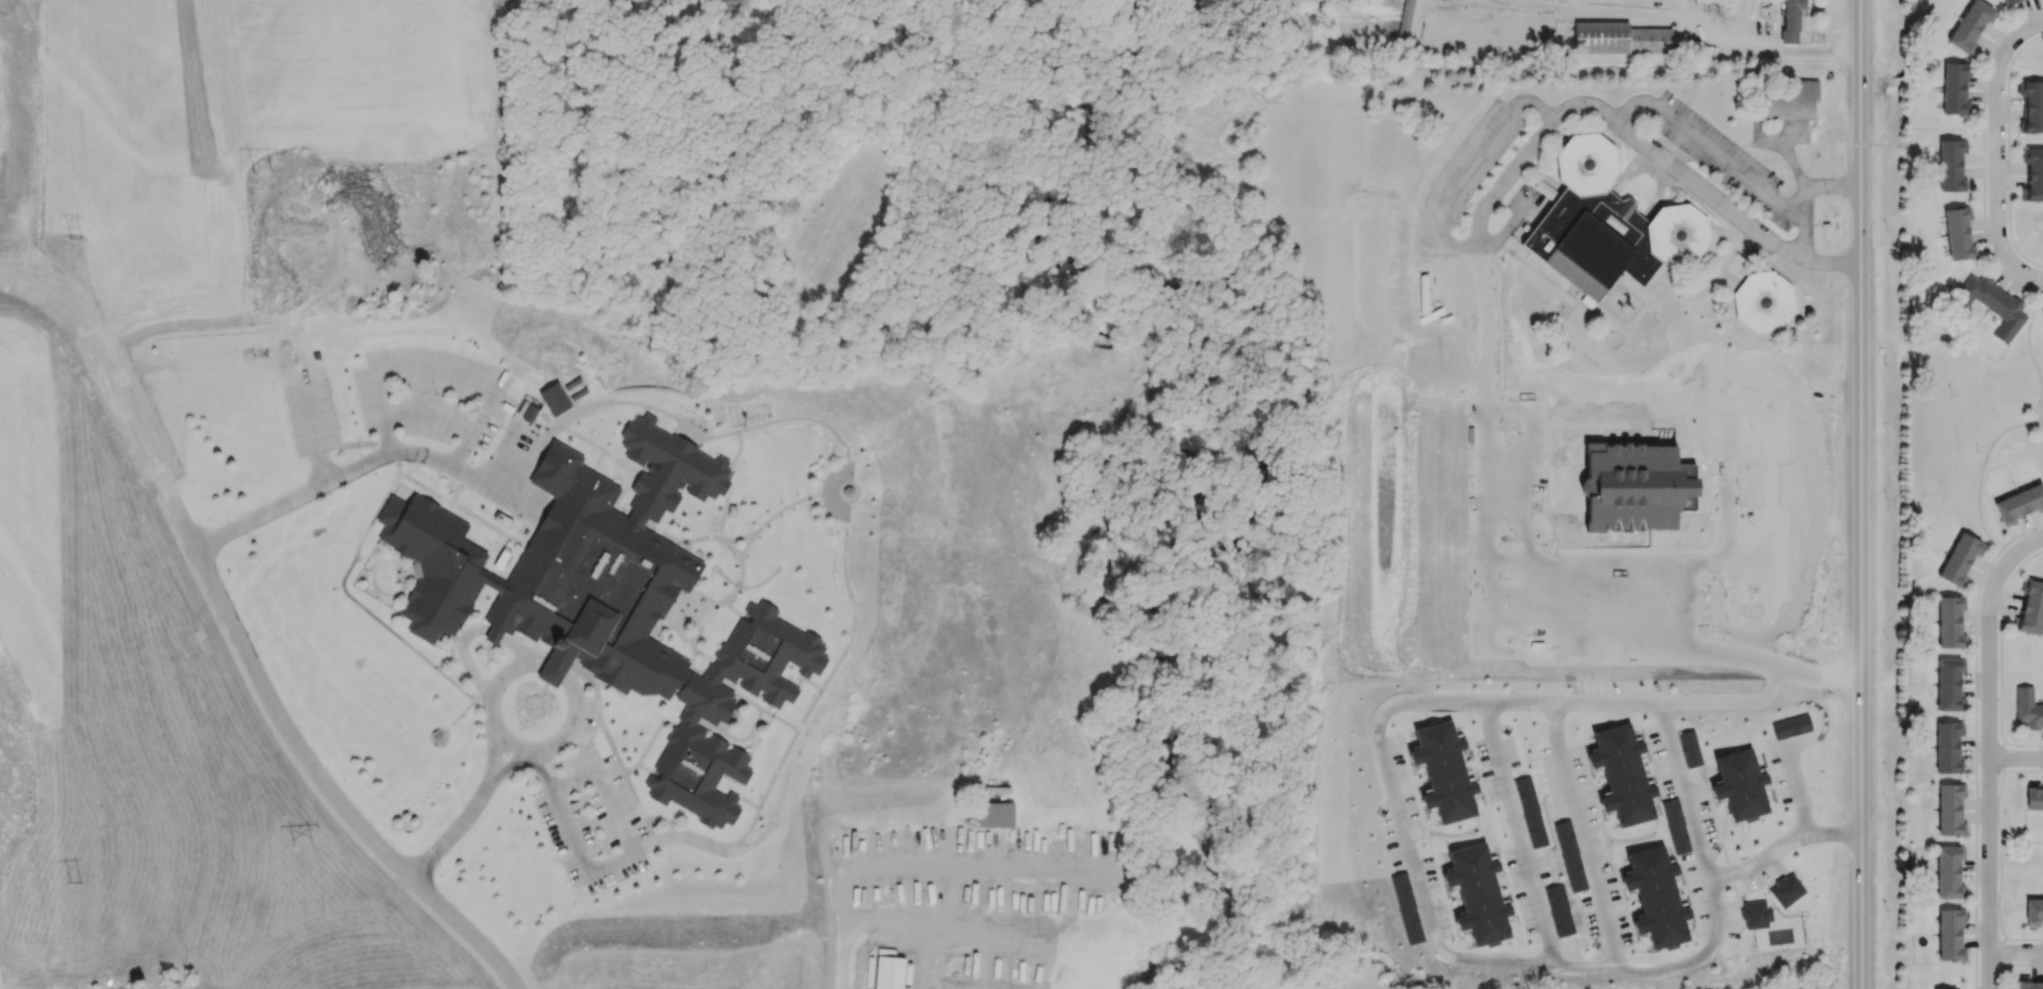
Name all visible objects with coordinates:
building: (1702, 1)
building: (2009, 1)
road: (1688, 17)
building: (1791, 19)
building: (1970, 25)
building: (1620, 38)
building: (1955, 88)
road: (1983, 97)
building: (1790, 101)
building: (2033, 107)
road: (1932, 128)
road: (1847, 144)
road: (1984, 150)
road: (1999, 155)
road: (1982, 158)
road: (1724, 162)
building: (1951, 165)
power tower: (271, 174)
building: (2034, 174)
road: (1810, 184)
road: (1700, 189)
building: (1611, 227)
building: (1958, 234)
road: (1986, 236)
power tower: (78, 241)
road: (1464, 249)
road: (2006, 274)
building: (1763, 301)
building: (1992, 304)
building: (2042, 312)
road: (2032, 357)
road: (467, 379)
building: (554, 399)
building: (527, 411)
parking lot: (308, 414)
road: (426, 415)
road: (2034, 427)
road: (315, 436)
road: (1981, 477)
road: (1843, 494)
road: (1860, 494)
road: (1869, 494)
building: (2019, 504)
road: (287, 508)
road: (2018, 532)
building: (1960, 558)
building: (613, 601)
building: (2031, 608)
building: (1950, 622)
road: (1989, 636)
road: (236, 642)
building: (1949, 685)
road: (574, 692)
road: (488, 698)
flagpole: (524, 701)
building: (2027, 707)
flagpole: (541, 710)
flagpole: (528, 714)
building: (1791, 724)
road: (510, 744)
building: (1948, 747)
building: (1689, 748)
road: (494, 751)
road: (2016, 760)
road: (513, 761)
road: (1382, 763)
road: (1976, 767)
building: (1444, 771)
building: (1622, 774)
flagpole: (471, 780)
flagpole: (468, 787)
building: (1736, 789)
road: (1680, 790)
flagpole: (463, 792)
building: (2034, 796)
flagpole: (460, 797)
flagpole: (498, 797)
flagpole: (494, 802)
flagpole: (456, 803)
flagpole: (491, 808)
flagpole: (451, 809)
building: (1950, 809)
building: (1530, 811)
flagpole: (486, 813)
flagpole: (447, 814)
building: (992, 814)
flagpole: (483, 818)
flagpole: (443, 819)
parking lot: (592, 821)
flagpole: (439, 824)
road: (456, 825)
flagpole: (479, 825)
building: (1675, 825)
flagpole: (434, 829)
flagpole: (473, 830)
road: (1514, 833)
flagpole: (429, 834)
road: (1580, 834)
flagpole: (469, 835)
flagpole: (464, 840)
road: (1779, 844)
power tower: (311, 845)
flagpole: (460, 845)
flagpole: (456, 850)
flagpole: (451, 855)
building: (1569, 855)
road: (613, 859)
building: (1949, 871)
road: (1989, 874)
power tower: (80, 881)
building: (1786, 889)
building: (1478, 894)
building: (1656, 897)
building: (1406, 907)
building: (1559, 909)
building: (2034, 910)
building: (1755, 914)
building: (1950, 934)
road: (2016, 955)
road: (920, 958)
building: (888, 972)
building: (2027, 983)
building: (1933, 988)

